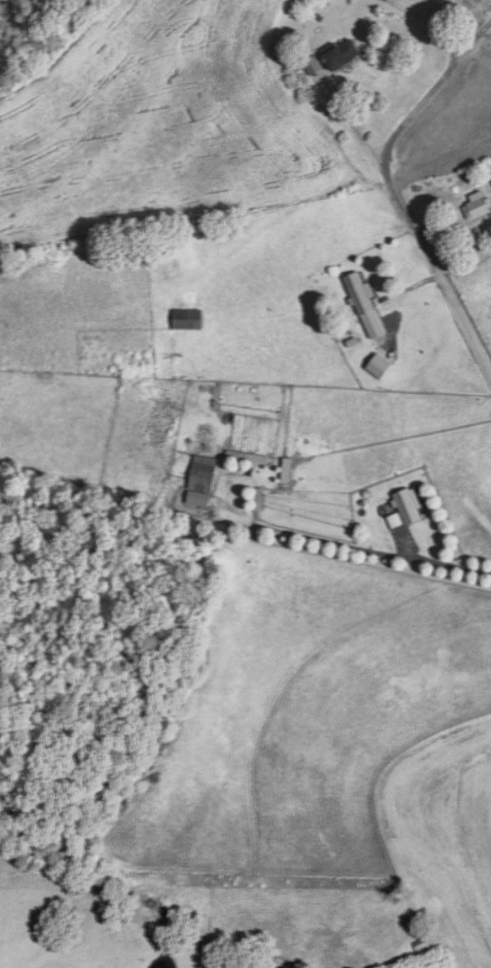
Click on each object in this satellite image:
road: (430, 21)
building: (342, 56)
road: (430, 89)
road: (352, 124)
building: (478, 205)
road: (436, 270)
building: (360, 292)
building: (187, 319)
building: (257, 465)
building: (203, 474)
building: (409, 506)
road: (436, 561)
building: (425, 949)

